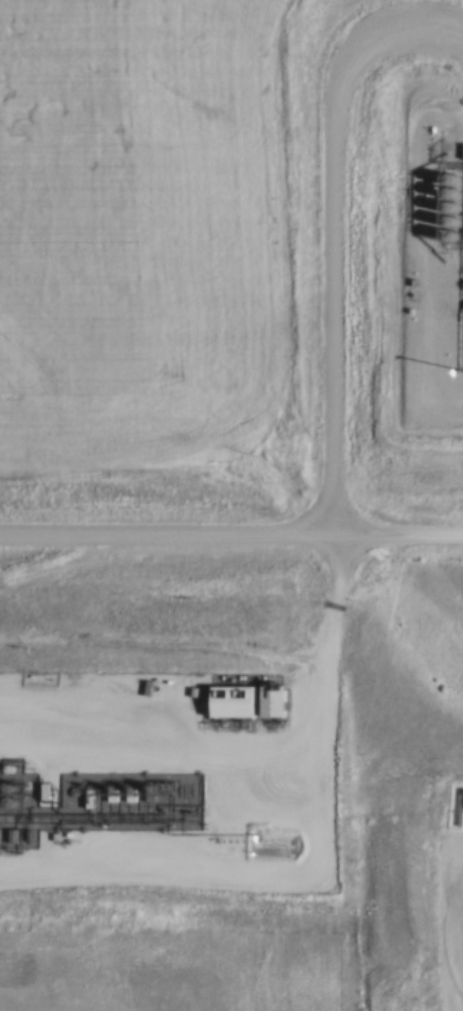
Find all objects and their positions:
road: (152, 549)
road: (302, 576)

